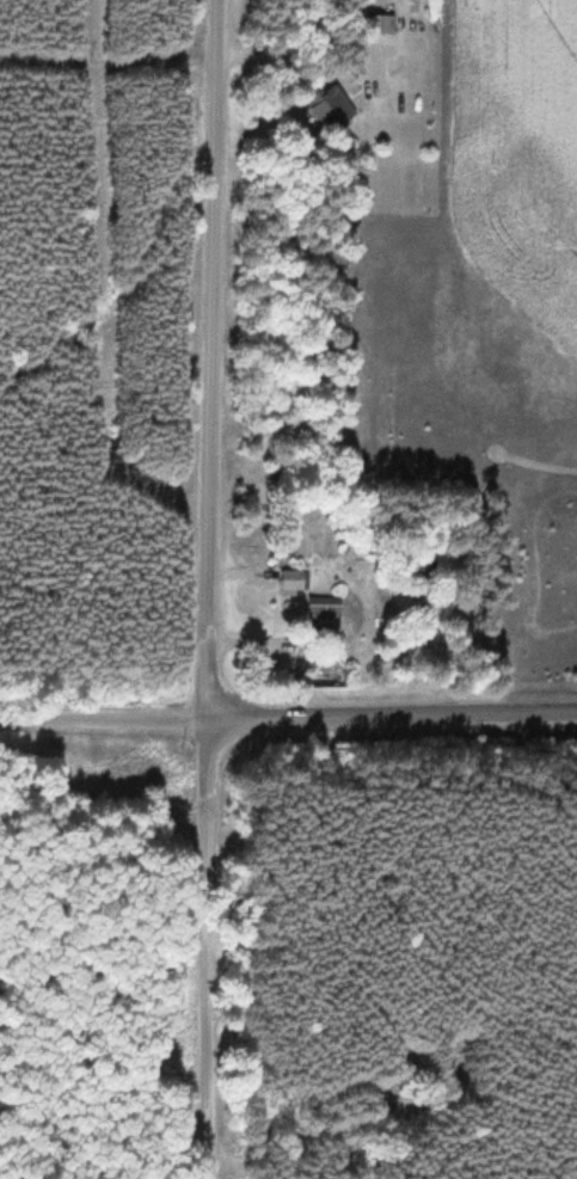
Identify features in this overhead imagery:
building: (379, 23)
building: (331, 106)
road: (214, 358)
building: (295, 579)
building: (327, 613)
road: (394, 716)
road: (105, 718)
park: (108, 948)
road: (210, 948)

